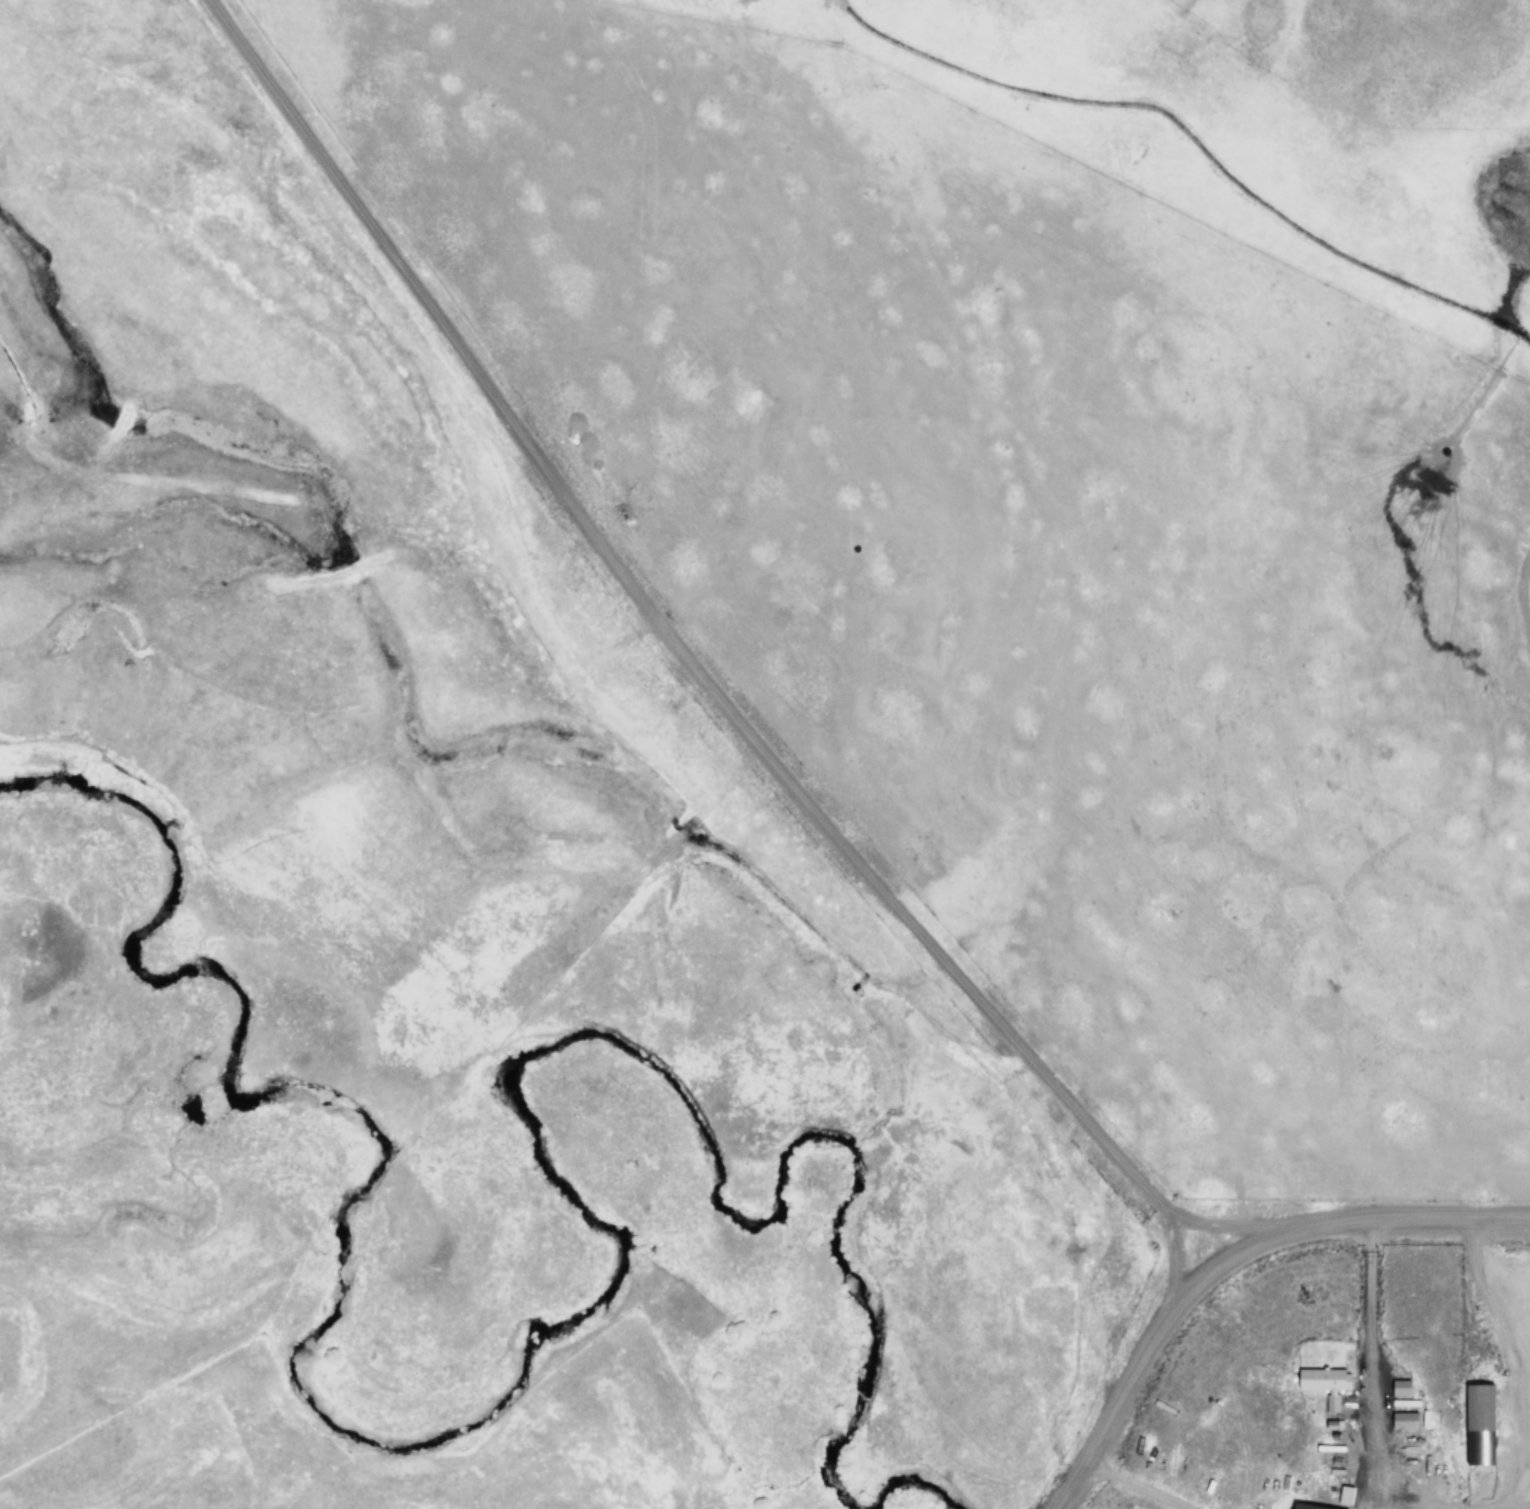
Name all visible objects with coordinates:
road: (649, 665)
road: (1235, 1261)
river: (551, 1332)
building: (1320, 1381)
building: (1397, 1394)
building: (1401, 1423)
building: (1475, 1426)
river: (921, 1497)

